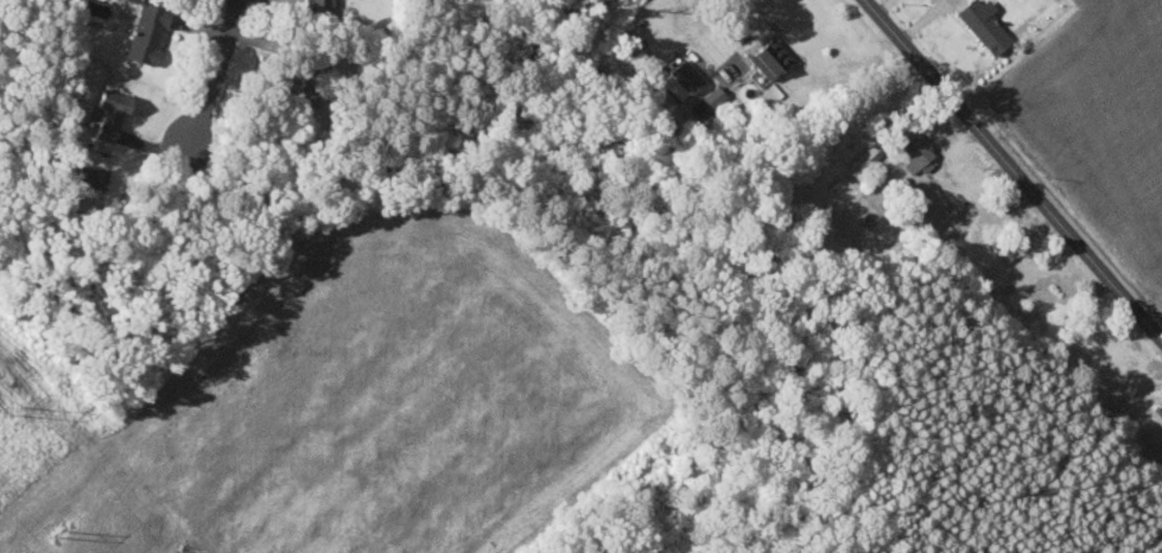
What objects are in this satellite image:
building: (318, 6)
building: (985, 26)
building: (147, 33)
building: (769, 61)
road: (212, 76)
building: (682, 80)
building: (106, 116)
building: (917, 152)
building: (866, 158)
road: (1015, 167)
building: (1004, 248)
power tower: (19, 411)
power tower: (64, 530)

